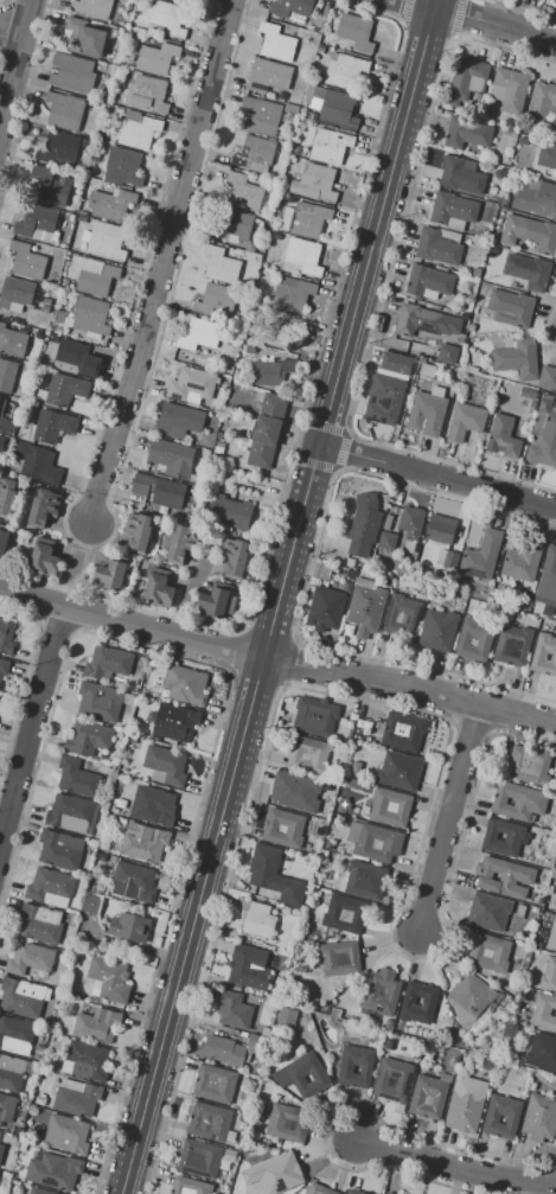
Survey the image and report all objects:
building: (179, 0)
building: (555, 1)
road: (414, 5)
building: (90, 6)
building: (292, 7)
building: (167, 18)
road: (11, 24)
road: (497, 26)
building: (354, 31)
building: (84, 38)
building: (276, 43)
road: (13, 56)
building: (155, 58)
building: (344, 71)
building: (72, 74)
building: (267, 76)
building: (466, 79)
building: (509, 90)
building: (147, 94)
building: (541, 102)
building: (290, 109)
building: (337, 109)
building: (64, 110)
building: (261, 116)
building: (311, 117)
building: (139, 132)
building: (466, 133)
building: (523, 140)
building: (84, 141)
building: (56, 146)
building: (98, 147)
building: (328, 147)
building: (298, 149)
building: (254, 152)
building: (96, 155)
building: (547, 158)
building: (122, 167)
building: (499, 174)
building: (461, 177)
building: (314, 183)
building: (49, 189)
building: (493, 190)
building: (244, 192)
building: (536, 198)
building: (109, 203)
building: (453, 207)
building: (82, 219)
building: (307, 219)
building: (36, 221)
building: (232, 225)
building: (536, 234)
building: (106, 241)
building: (436, 248)
building: (492, 250)
building: (301, 257)
building: (26, 260)
building: (270, 260)
road: (164, 261)
building: (221, 266)
building: (529, 270)
building: (475, 272)
building: (91, 275)
building: (428, 281)
building: (65, 282)
building: (512, 285)
building: (15, 292)
building: (292, 294)
building: (215, 299)
building: (46, 302)
building: (44, 308)
building: (510, 308)
building: (59, 313)
building: (90, 317)
building: (464, 317)
building: (58, 320)
building: (424, 321)
building: (471, 327)
building: (277, 332)
building: (199, 334)
building: (53, 338)
building: (12, 341)
building: (446, 353)
building: (515, 357)
building: (76, 359)
building: (270, 371)
building: (427, 371)
building: (6, 375)
building: (547, 377)
building: (471, 381)
building: (191, 383)
building: (491, 383)
building: (65, 389)
building: (388, 389)
building: (528, 394)
building: (468, 397)
building: (1, 406)
building: (13, 414)
building: (426, 414)
building: (179, 419)
building: (465, 421)
building: (223, 424)
building: (52, 426)
building: (266, 430)
building: (543, 435)
building: (219, 436)
building: (501, 436)
building: (1, 441)
building: (218, 448)
building: (172, 458)
building: (37, 465)
road: (437, 475)
building: (160, 491)
building: (6, 497)
building: (41, 506)
building: (230, 511)
building: (388, 522)
building: (411, 522)
building: (363, 524)
building: (440, 529)
building: (138, 531)
building: (2, 541)
building: (386, 541)
building: (181, 543)
building: (234, 556)
building: (480, 556)
building: (44, 557)
building: (447, 558)
building: (522, 560)
building: (350, 562)
building: (109, 576)
road: (70, 579)
building: (548, 579)
building: (346, 583)
building: (159, 592)
road: (186, 593)
road: (279, 595)
building: (212, 602)
building: (325, 608)
building: (365, 609)
building: (402, 615)
road: (130, 624)
building: (437, 630)
building: (6, 638)
building: (473, 640)
building: (513, 645)
building: (544, 655)
building: (107, 663)
building: (4, 666)
building: (185, 685)
road: (409, 691)
building: (98, 702)
building: (314, 717)
building: (175, 722)
building: (359, 732)
building: (402, 732)
road: (33, 733)
building: (87, 738)
building: (307, 756)
building: (166, 764)
building: (529, 765)
building: (354, 768)
building: (400, 771)
building: (76, 777)
building: (354, 784)
building: (299, 792)
building: (517, 802)
building: (155, 804)
building: (344, 804)
building: (390, 807)
building: (69, 812)
building: (324, 816)
road: (447, 821)
building: (283, 829)
building: (517, 836)
building: (143, 842)
building: (375, 843)
building: (59, 849)
building: (273, 874)
building: (501, 876)
building: (365, 880)
building: (133, 881)
building: (50, 887)
building: (537, 909)
building: (488, 912)
building: (519, 912)
building: (344, 914)
building: (260, 920)
building: (39, 924)
building: (129, 927)
building: (551, 936)
building: (308, 938)
building: (490, 953)
building: (28, 958)
building: (339, 958)
building: (285, 963)
building: (249, 968)
building: (549, 975)
building: (109, 978)
building: (382, 991)
building: (471, 994)
building: (21, 997)
building: (428, 1001)
building: (234, 1010)
building: (543, 1011)
building: (288, 1015)
building: (96, 1024)
building: (15, 1035)
building: (455, 1042)
building: (222, 1051)
building: (542, 1052)
building: (85, 1060)
building: (486, 1065)
building: (345, 1070)
building: (13, 1072)
building: (318, 1075)
building: (402, 1083)
building: (215, 1084)
building: (429, 1096)
building: (76, 1098)
building: (39, 1100)
building: (6, 1107)
building: (473, 1112)
building: (511, 1117)
building: (539, 1118)
building: (209, 1122)
building: (275, 1124)
building: (66, 1135)
building: (254, 1145)
building: (23, 1148)
building: (1, 1150)
building: (229, 1156)
building: (199, 1160)
road: (453, 1167)
building: (57, 1171)
building: (280, 1173)
building: (188, 1186)
building: (318, 1189)
building: (39, 1192)
building: (354, 1192)
building: (389, 1193)

